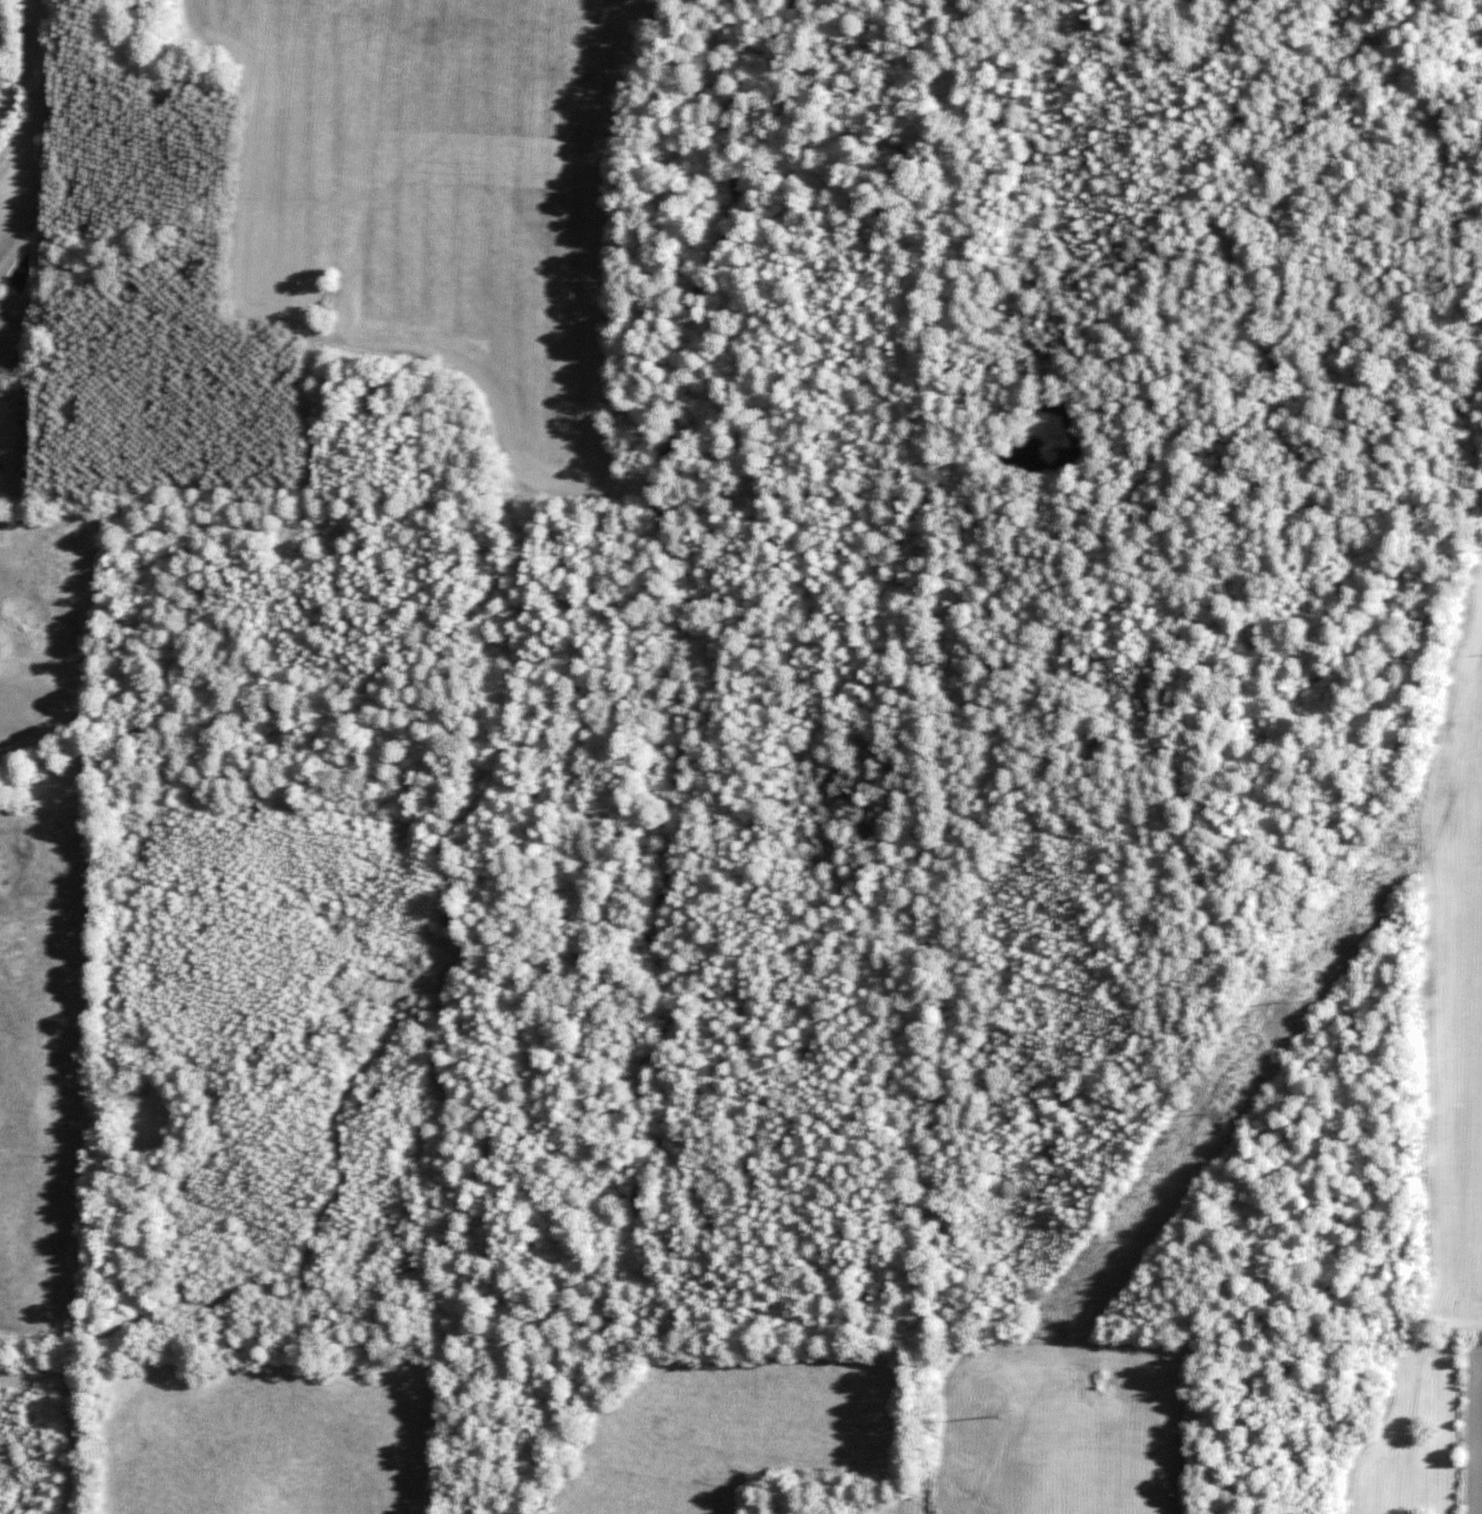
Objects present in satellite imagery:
road: (25, 62)
power tower: (1287, 999)
power tower: (999, 1415)

